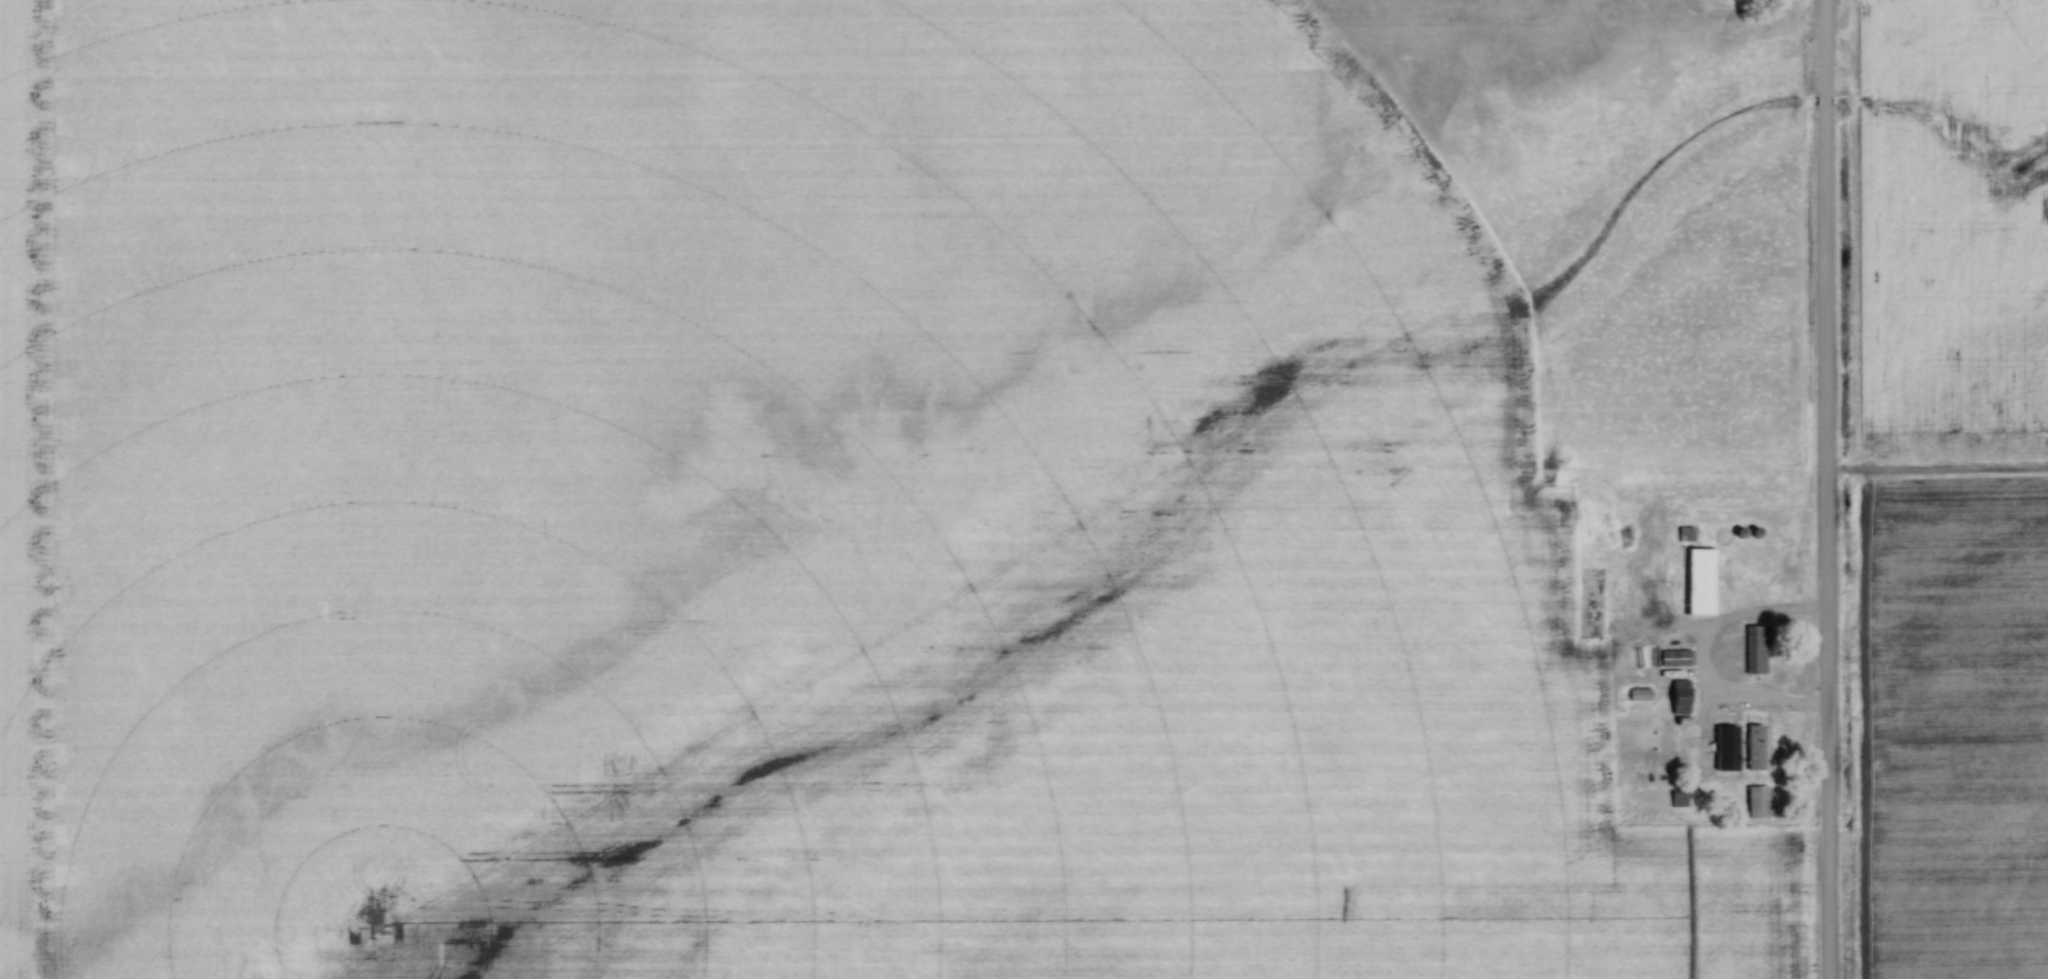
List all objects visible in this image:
road: (1824, 489)
building: (1699, 583)
building: (1754, 651)
building: (1673, 660)
road: (1700, 660)
building: (1677, 699)
building: (1755, 749)
building: (1677, 801)
building: (1755, 803)

